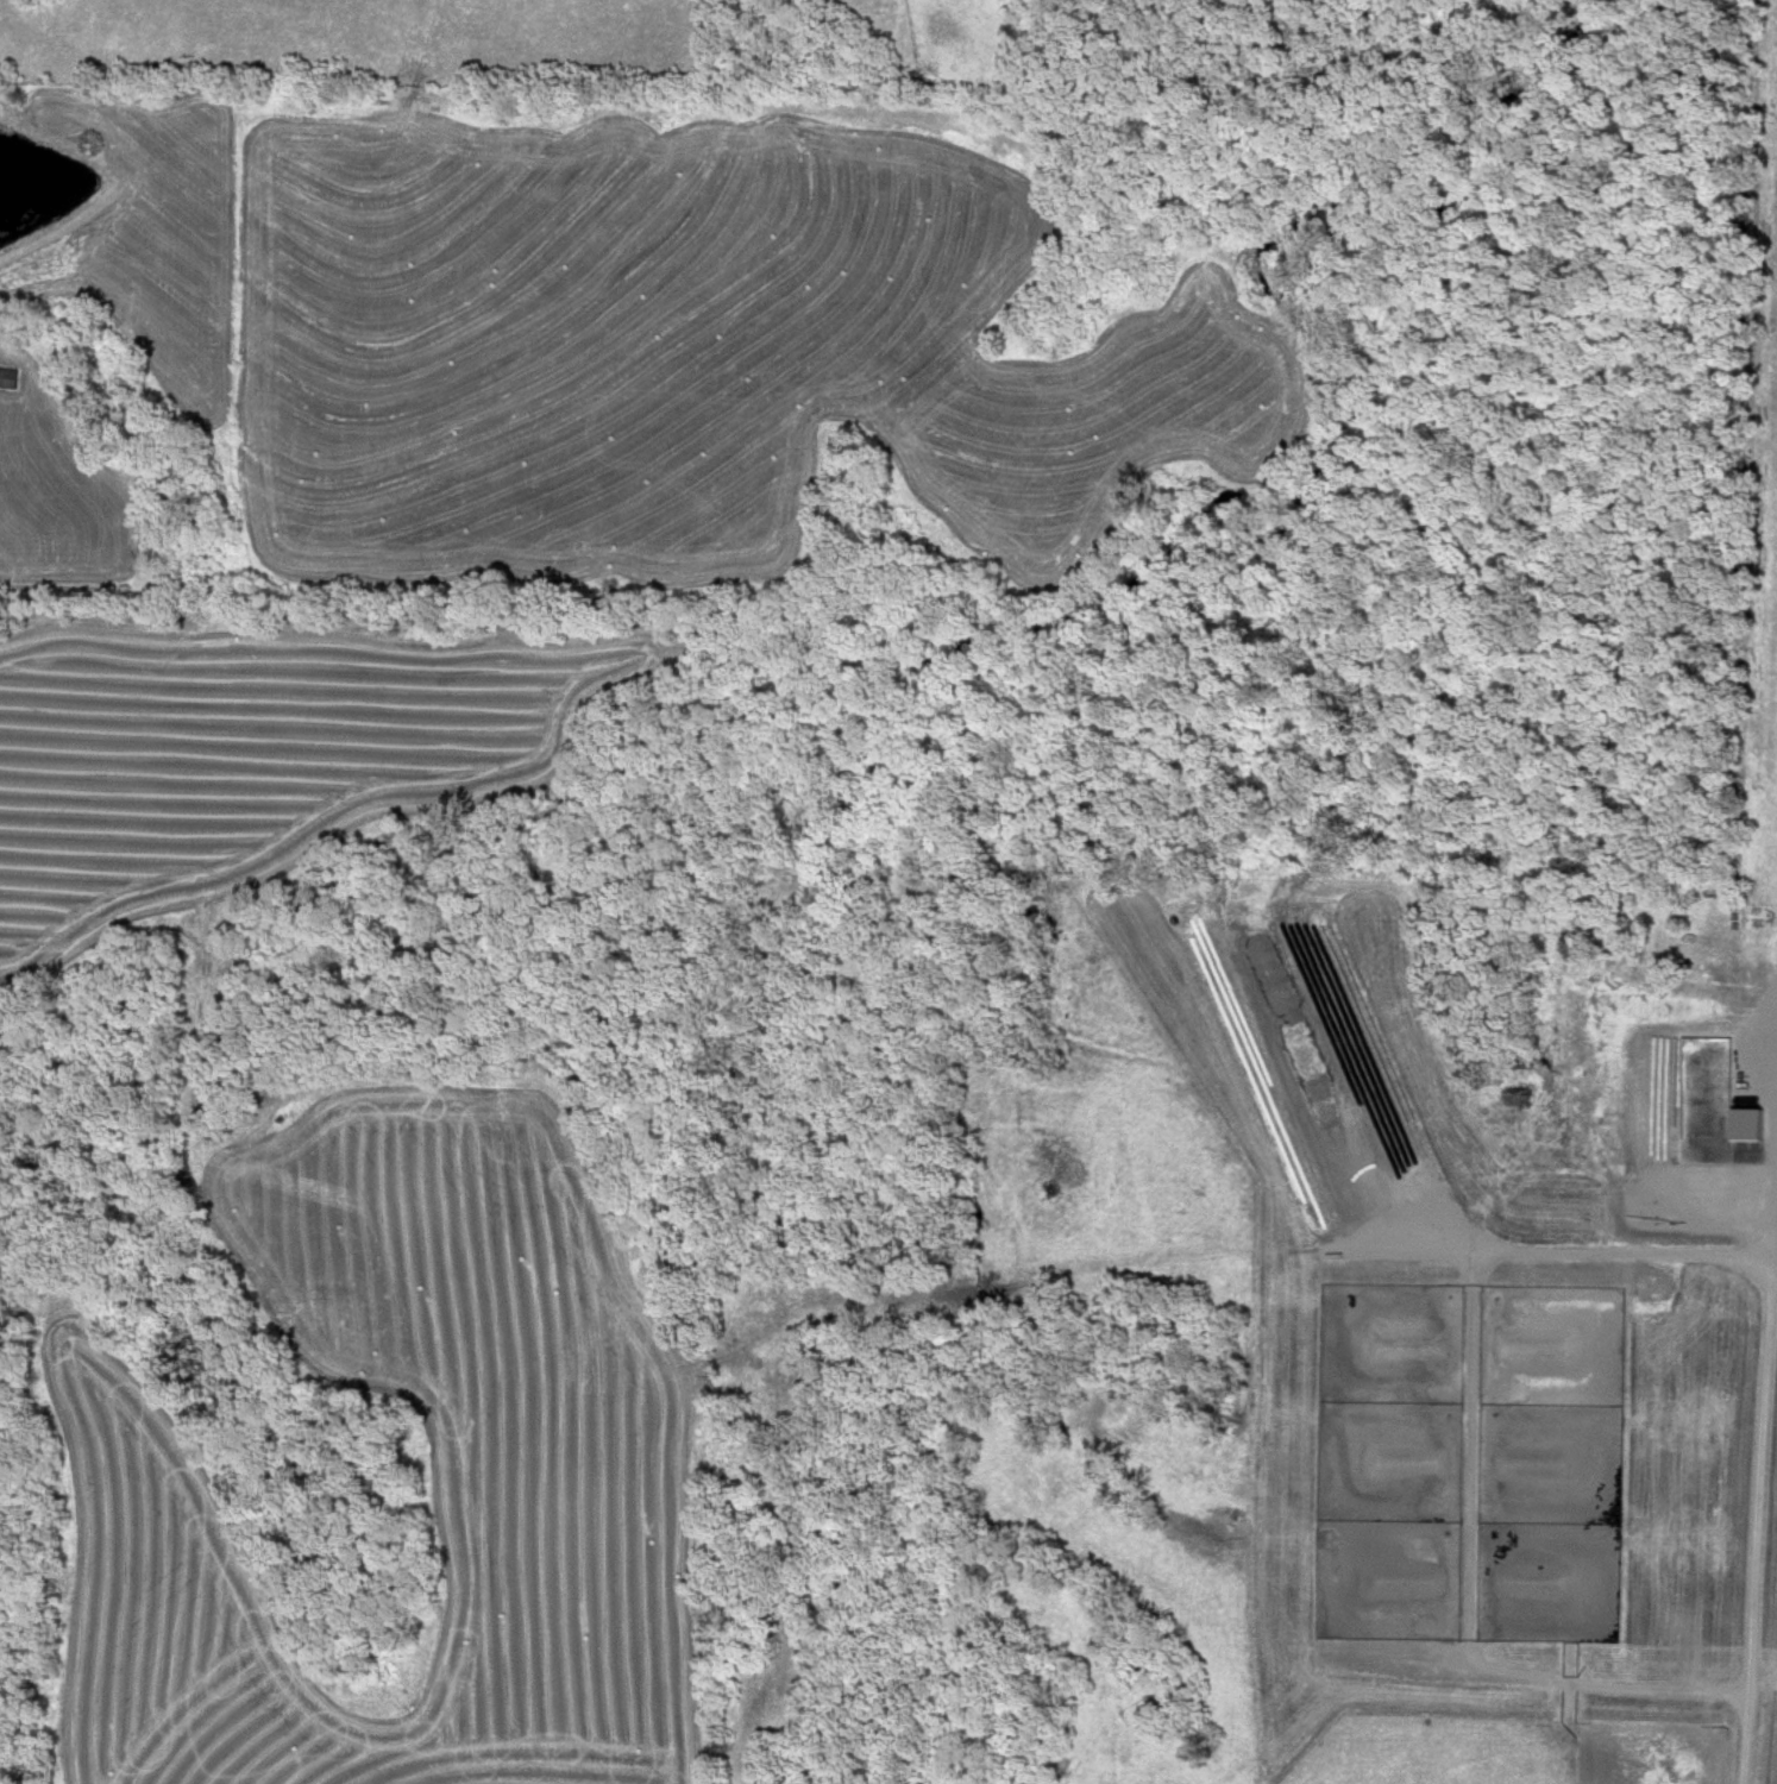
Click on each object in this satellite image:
building: (7, 379)

